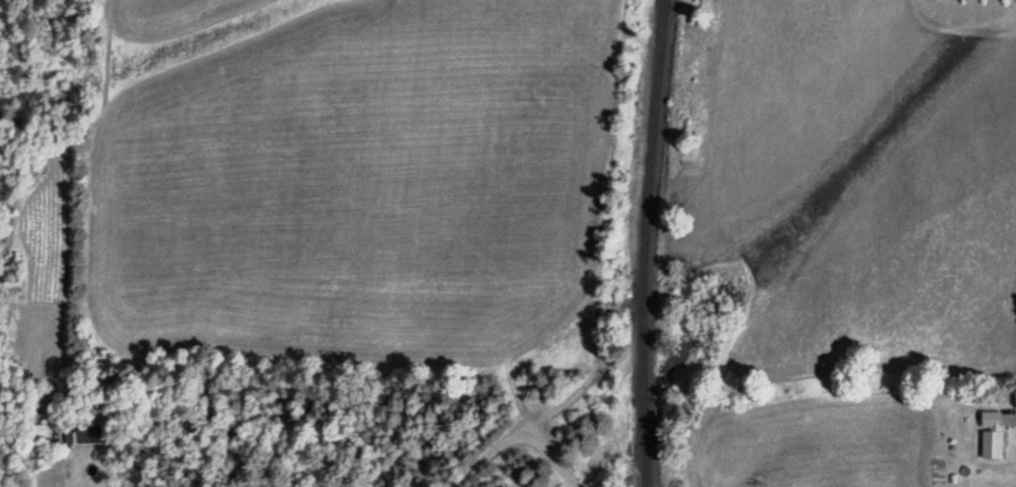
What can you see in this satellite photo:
railway: (641, 243)
building: (33, 427)
building: (990, 430)
building: (78, 432)
road: (510, 441)
road: (51, 471)

